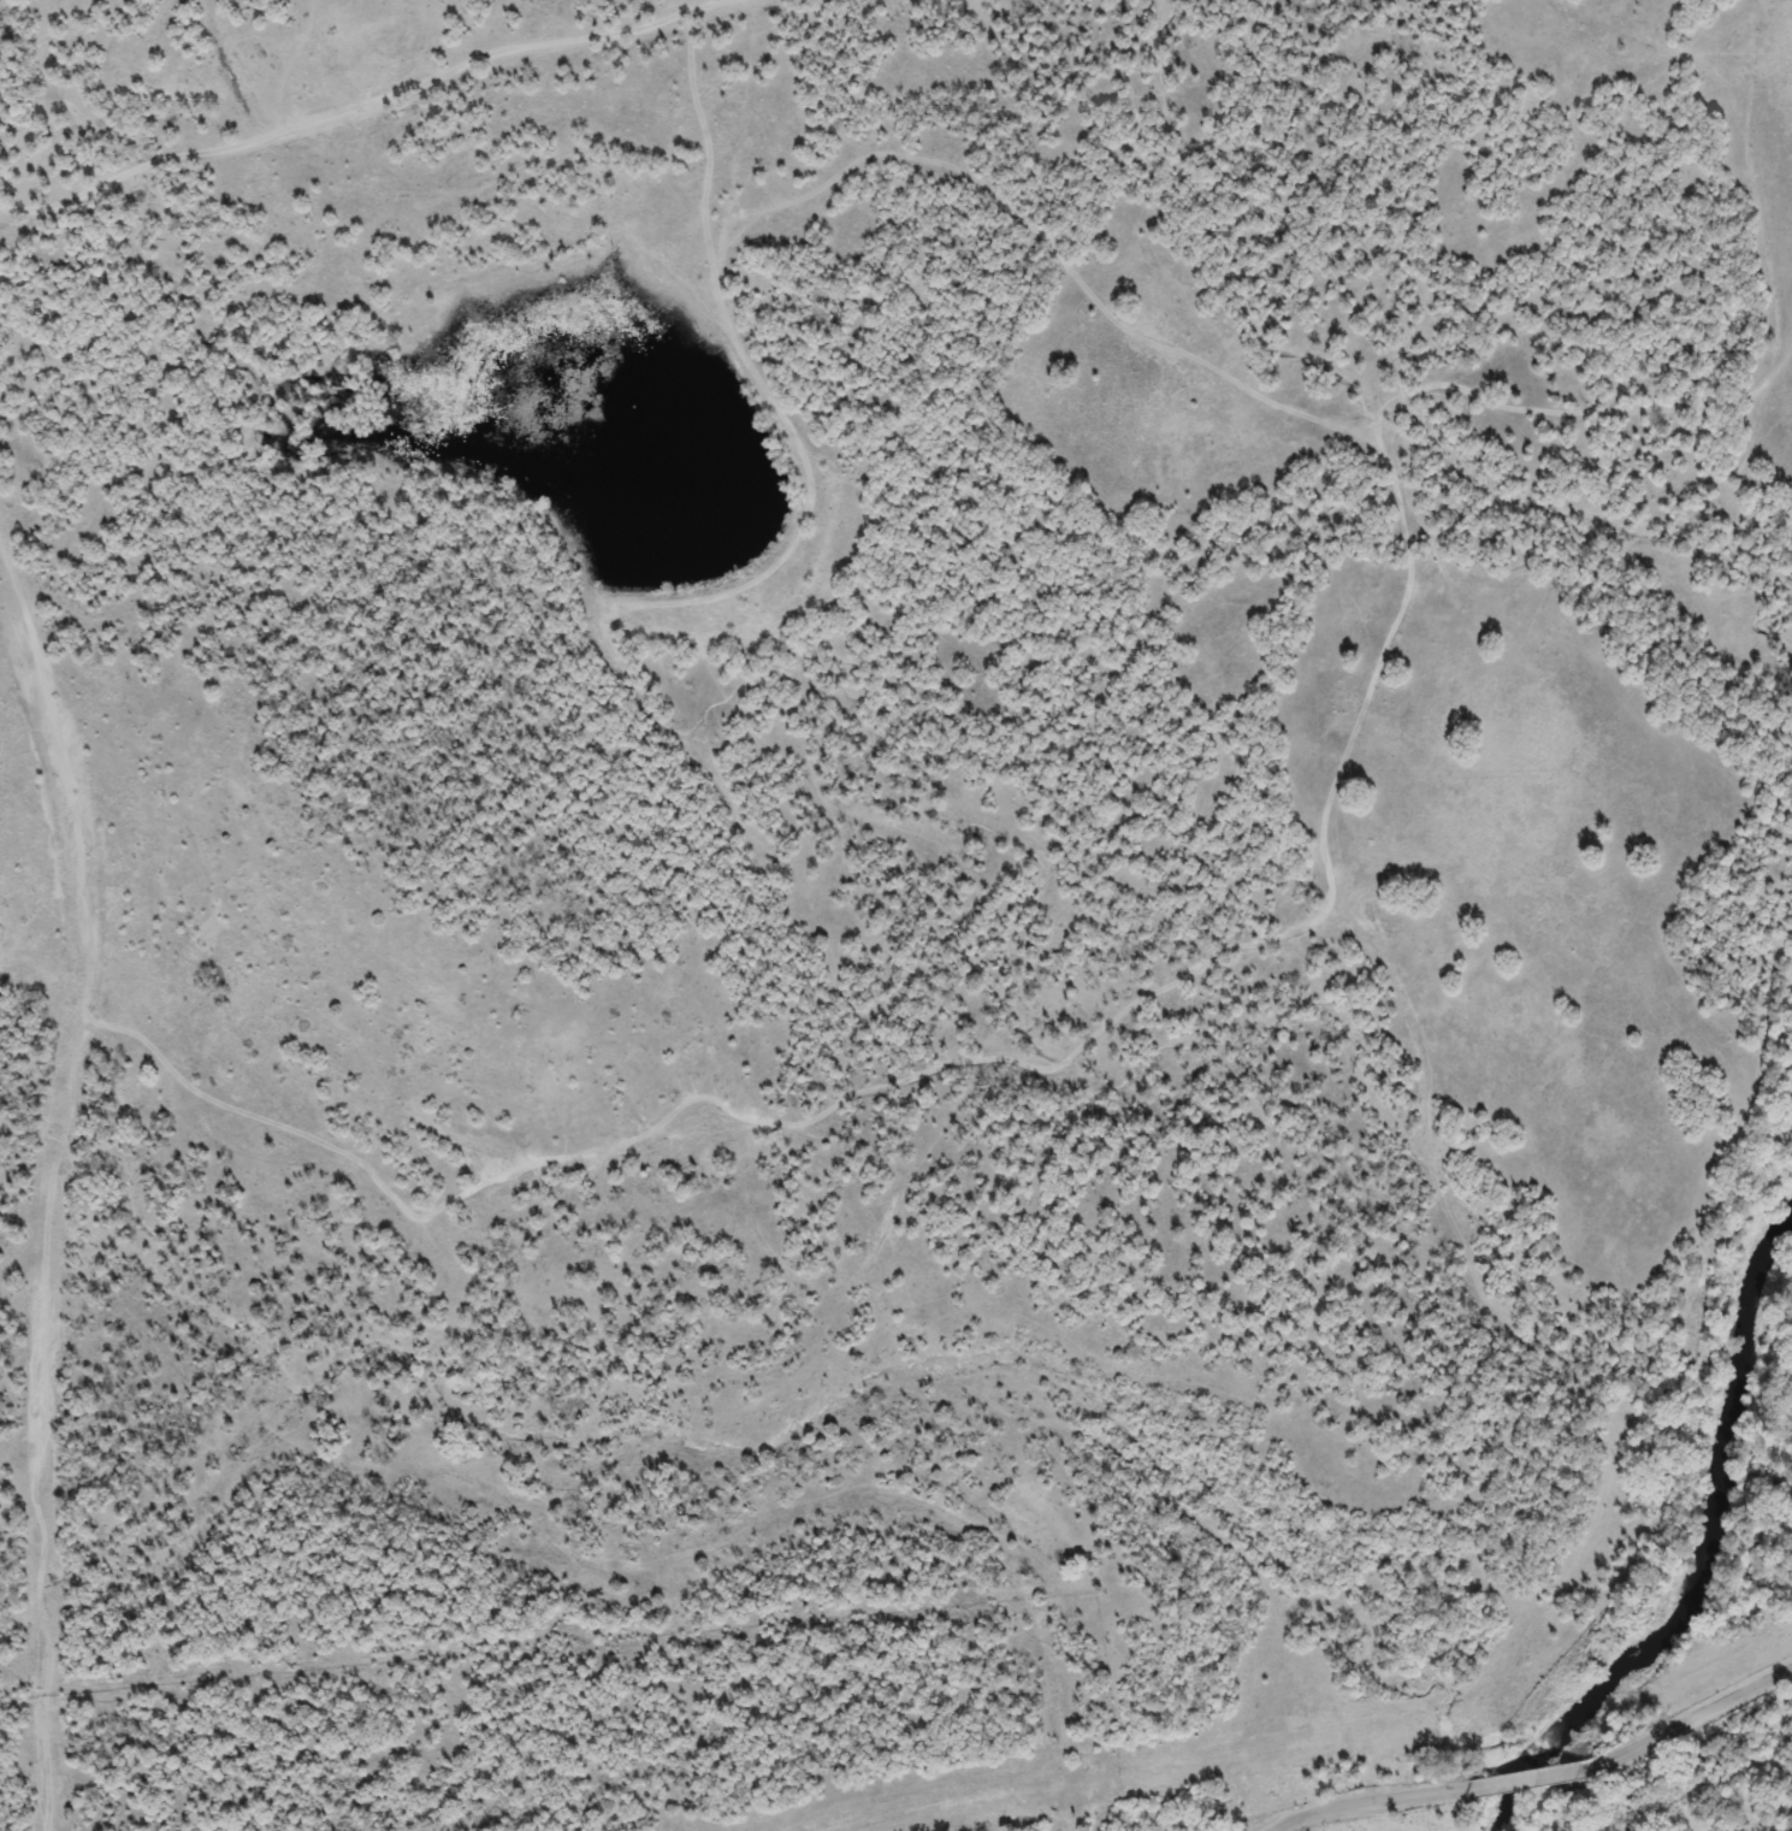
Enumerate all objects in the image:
road: (1534, 1779)

